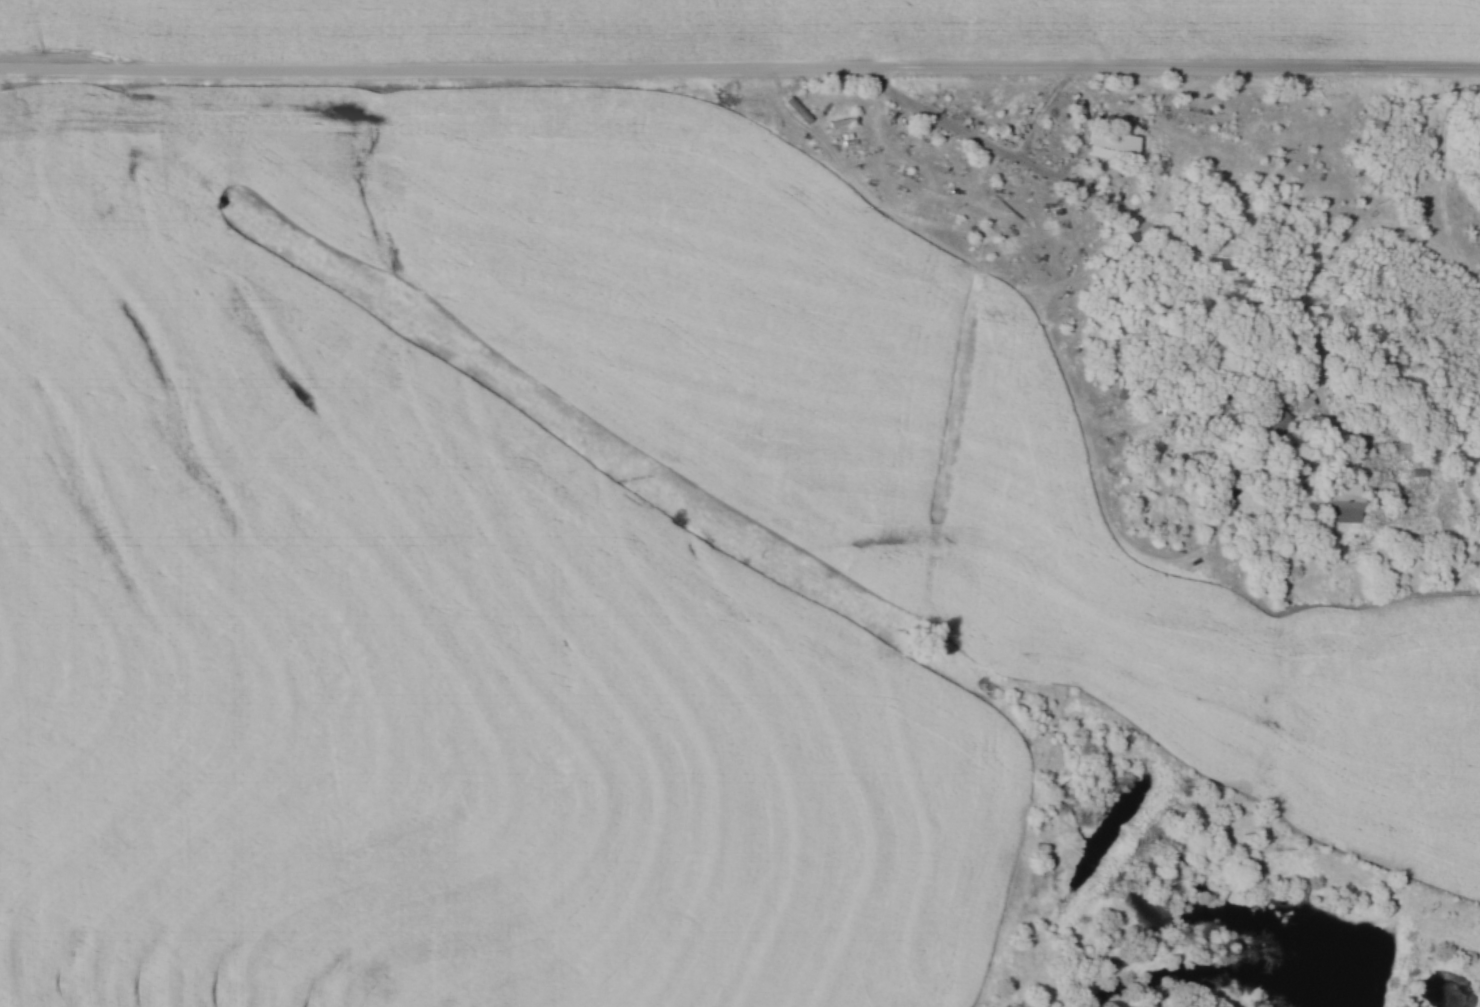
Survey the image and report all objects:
road: (740, 71)
building: (1107, 144)
road: (1215, 260)
road: (1327, 399)
building: (1272, 420)
building: (1339, 492)

